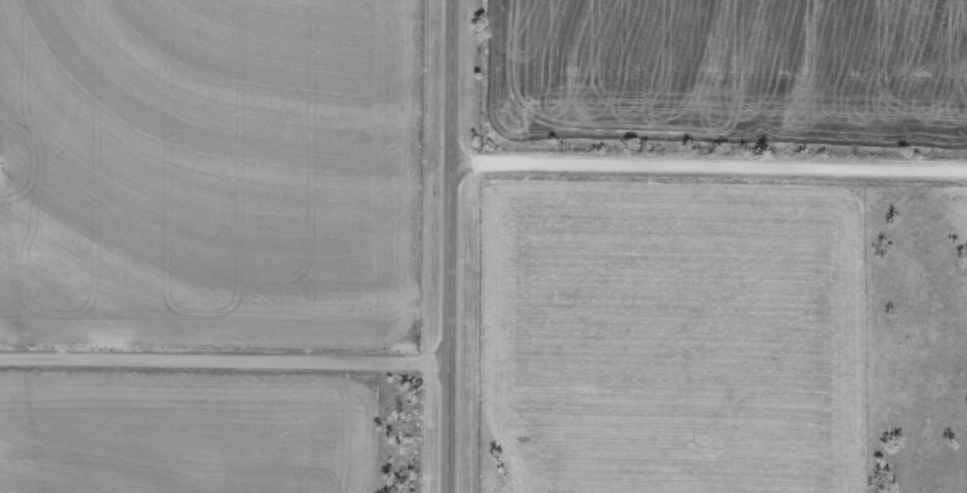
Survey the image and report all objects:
road: (699, 187)
road: (451, 246)
road: (225, 366)

